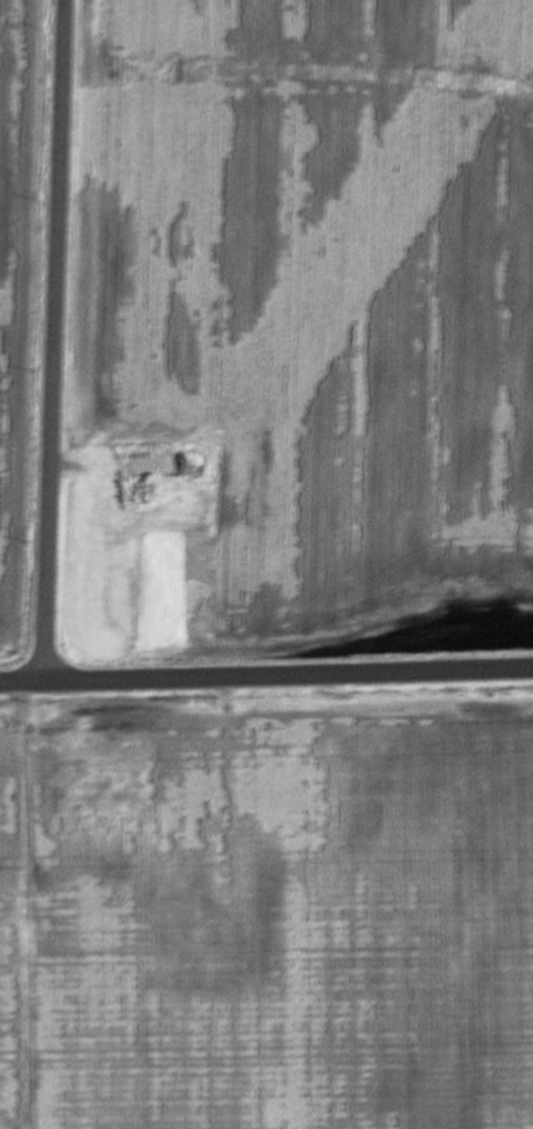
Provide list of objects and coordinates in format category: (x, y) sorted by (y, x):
road: (53, 341)
road: (266, 675)

